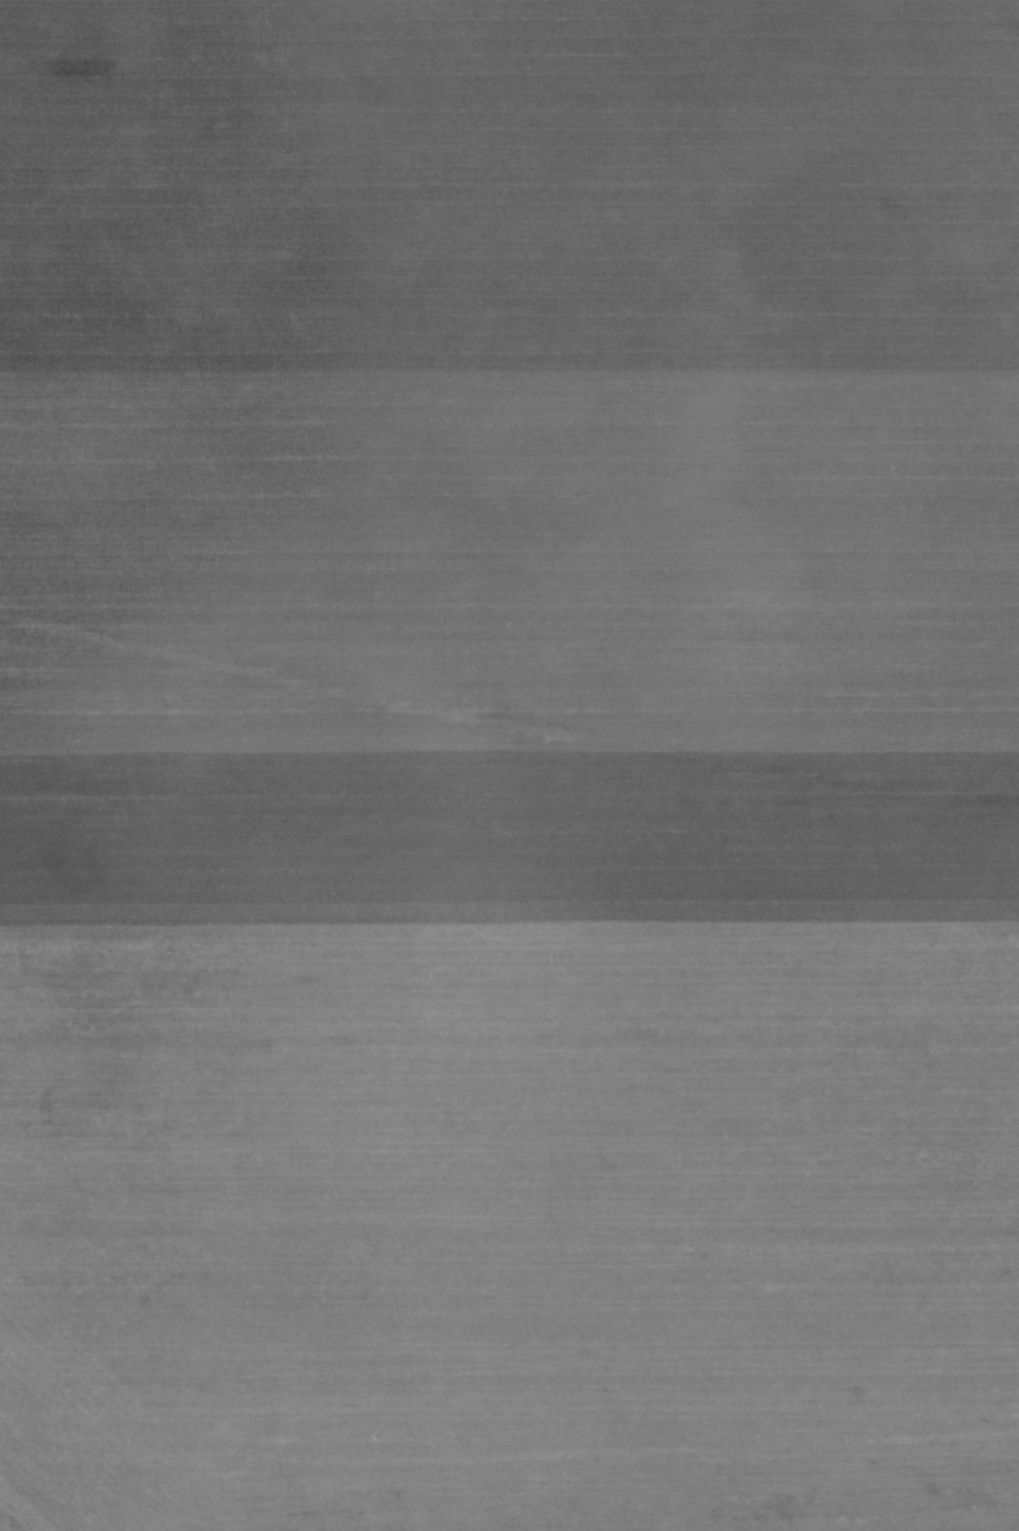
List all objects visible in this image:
crop: (509, 765)

